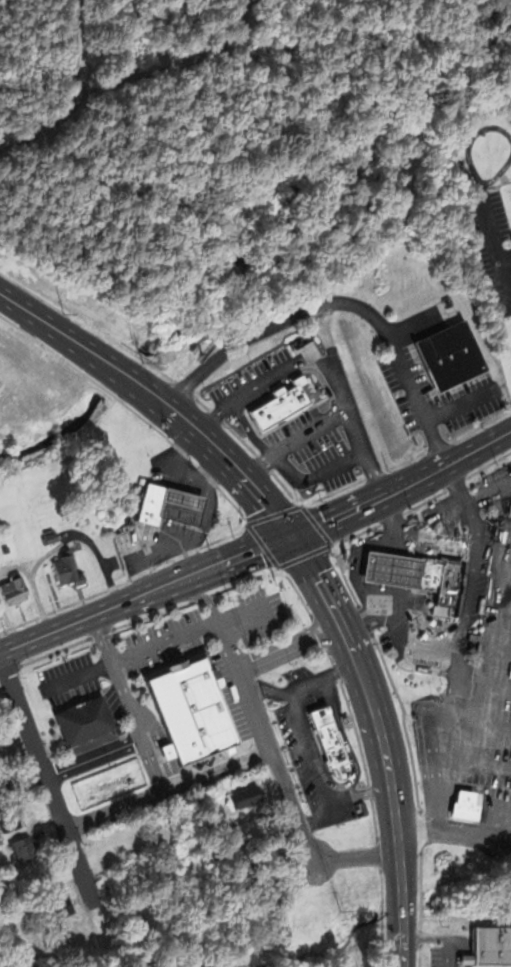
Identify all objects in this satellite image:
park: (93, 45)
road: (77, 46)
road: (177, 63)
road: (45, 129)
road: (340, 300)
building: (451, 354)
road: (333, 359)
road: (293, 360)
road: (159, 395)
building: (283, 403)
road: (226, 404)
road: (333, 420)
building: (147, 502)
building: (175, 504)
building: (510, 509)
traffic signals: (292, 534)
building: (49, 535)
building: (128, 540)
road: (258, 547)
building: (5, 548)
building: (386, 568)
building: (69, 570)
building: (439, 582)
building: (13, 588)
road: (202, 595)
road: (153, 644)
road: (290, 645)
building: (427, 670)
road: (128, 701)
building: (188, 708)
building: (79, 719)
building: (330, 738)
road: (384, 740)
road: (94, 756)
road: (47, 777)
road: (282, 782)
road: (167, 788)
building: (245, 796)
building: (464, 806)
building: (10, 817)
road: (455, 831)
building: (126, 843)
building: (24, 849)
building: (58, 906)
building: (490, 948)

